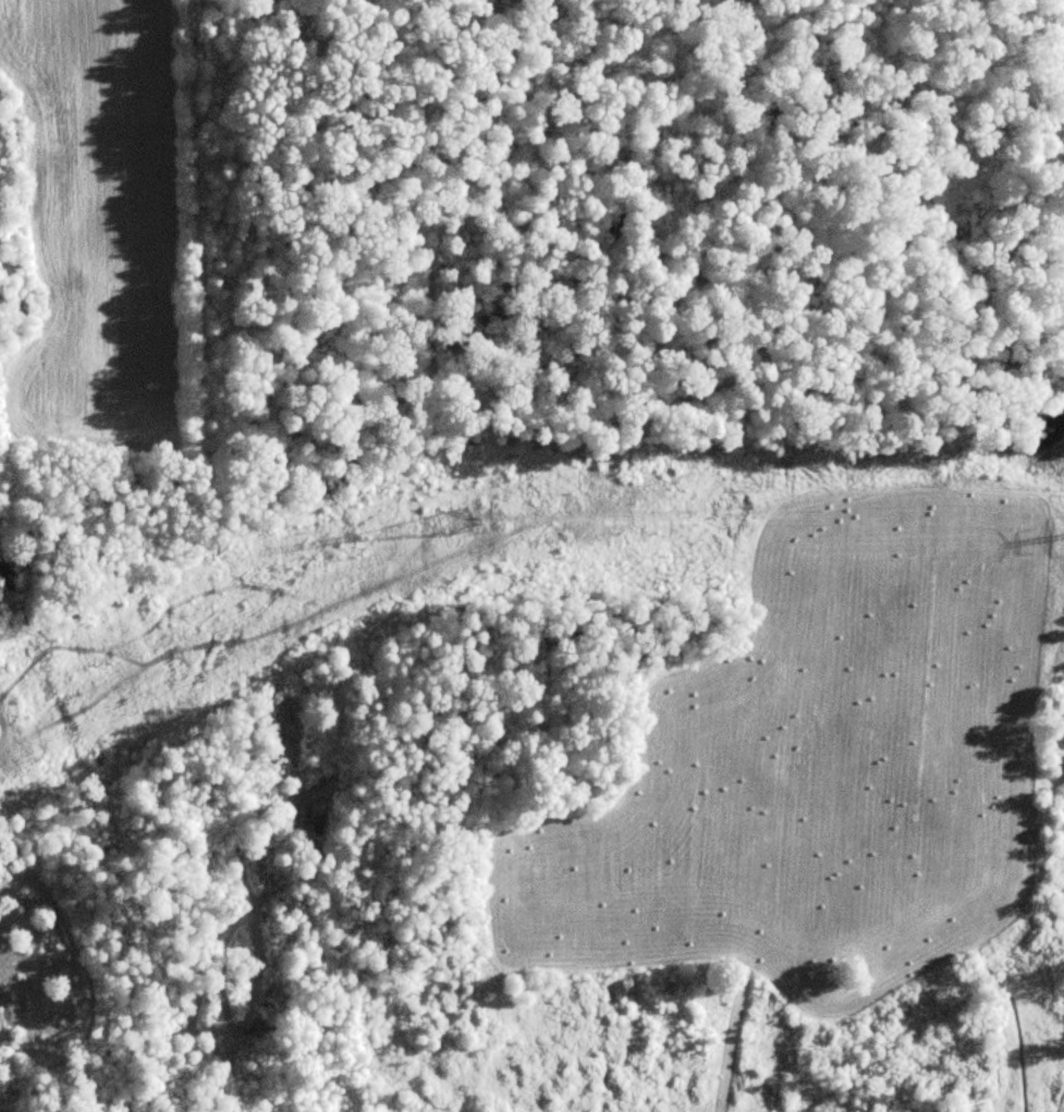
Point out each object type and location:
power tower: (450, 526)

